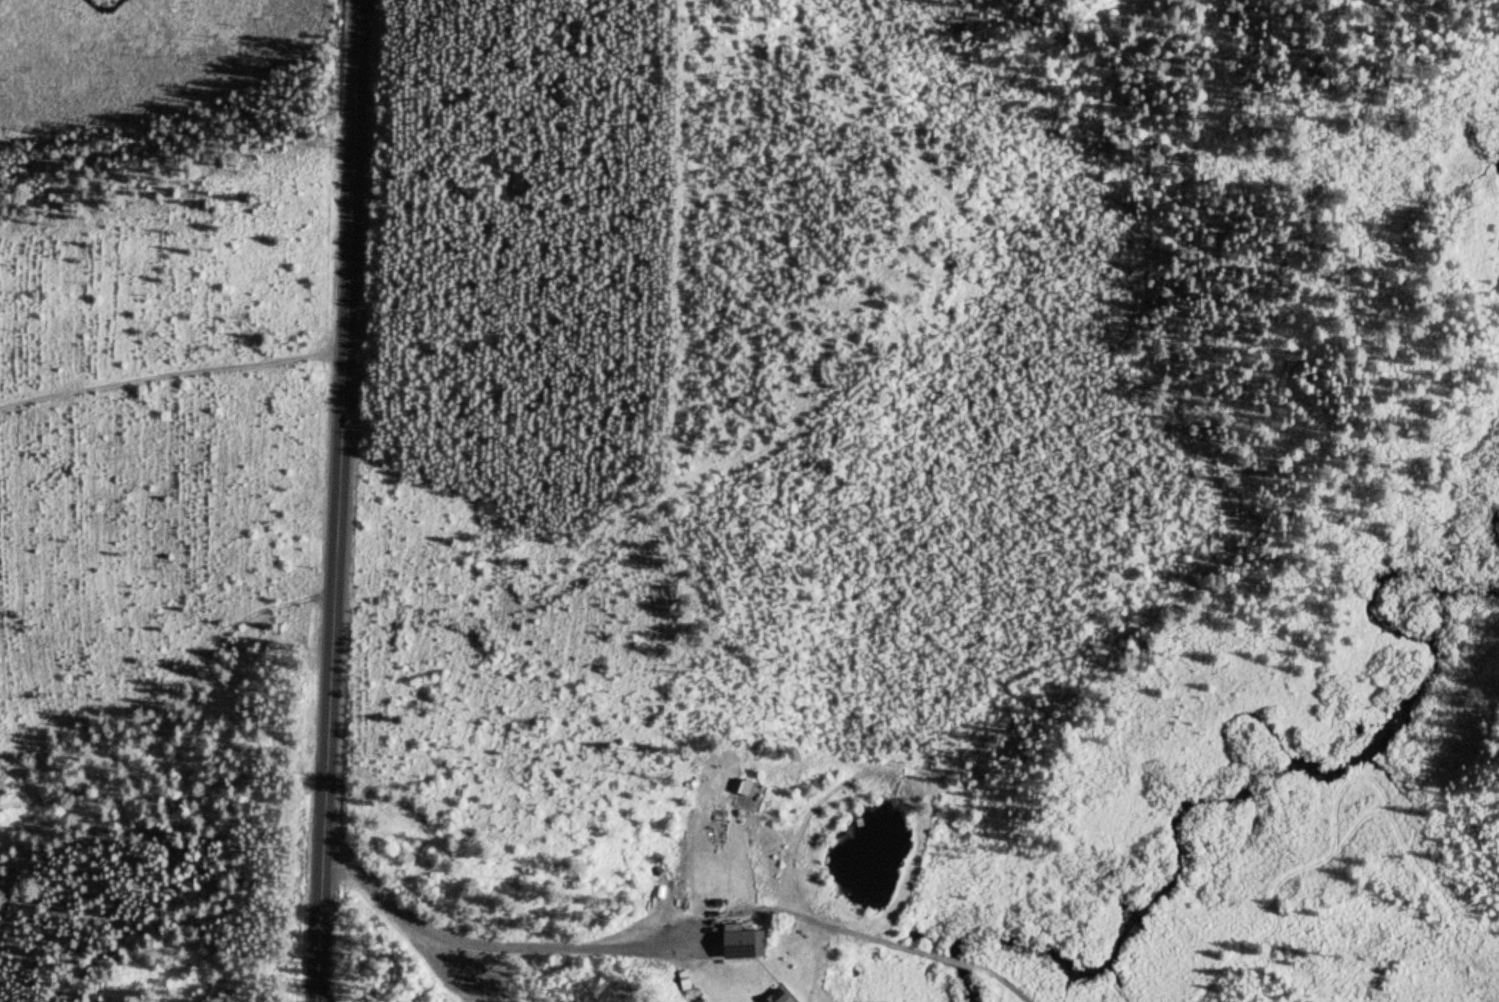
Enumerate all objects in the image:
road: (348, 181)
road: (169, 375)
road: (325, 682)
road: (161, 702)
river: (1262, 773)
building: (737, 789)
road: (484, 937)
building: (735, 946)
road: (927, 952)
building: (774, 996)

